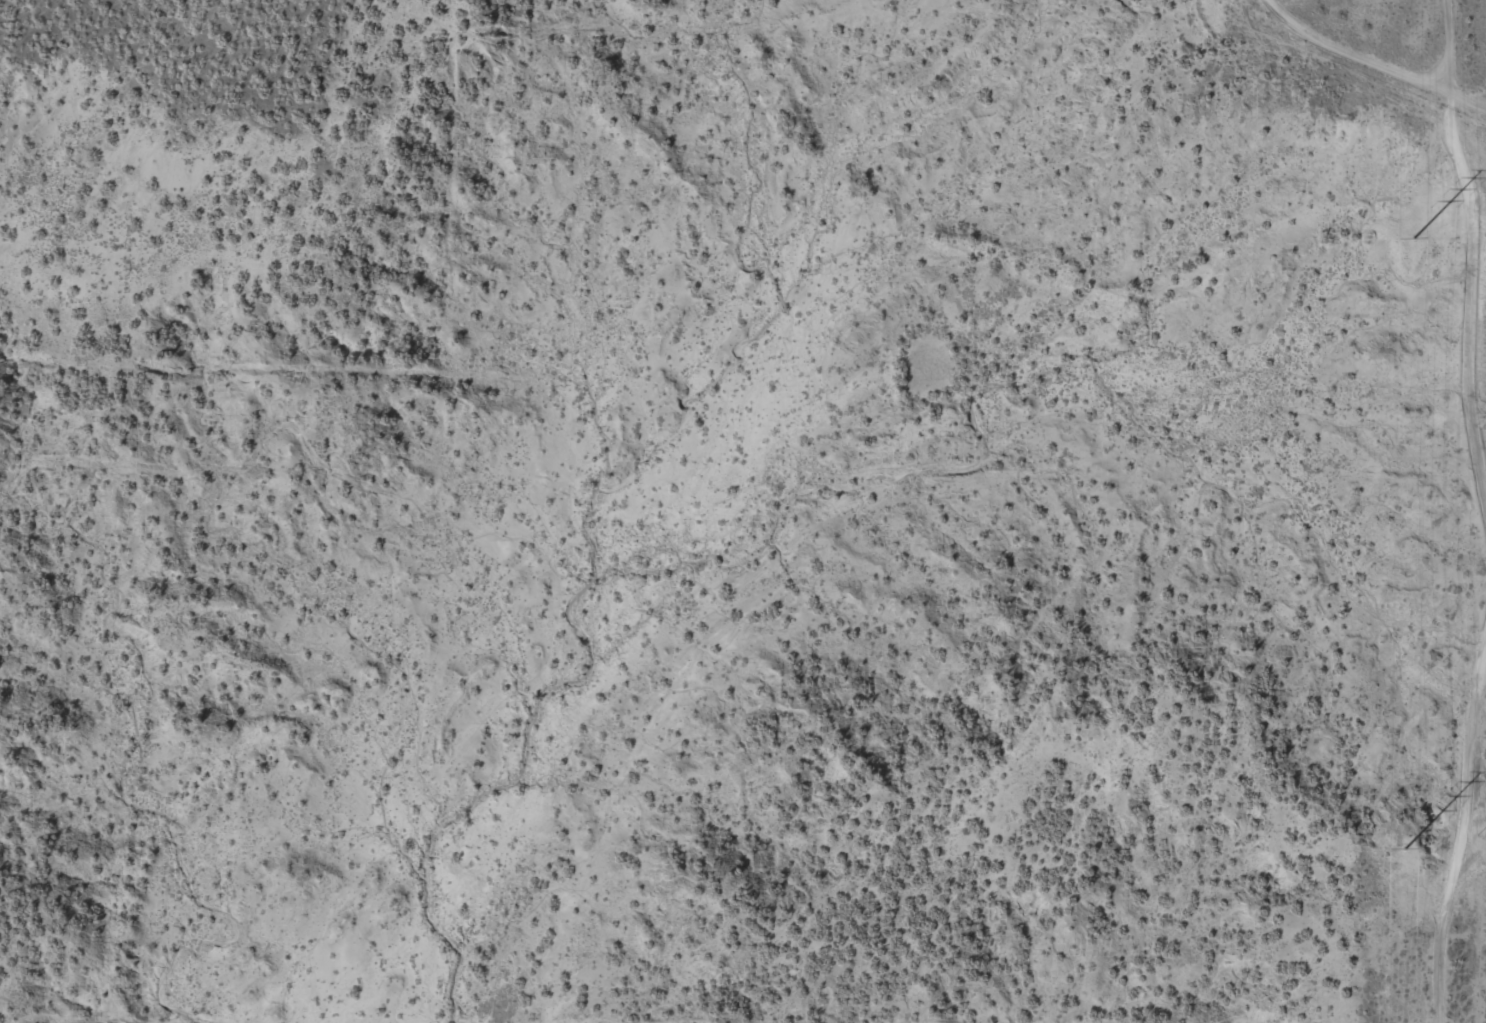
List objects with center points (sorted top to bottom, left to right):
road: (1384, 54)
power tower: (1413, 238)
power tower: (1485, 414)
power tower: (1481, 834)
power tower: (1404, 849)

